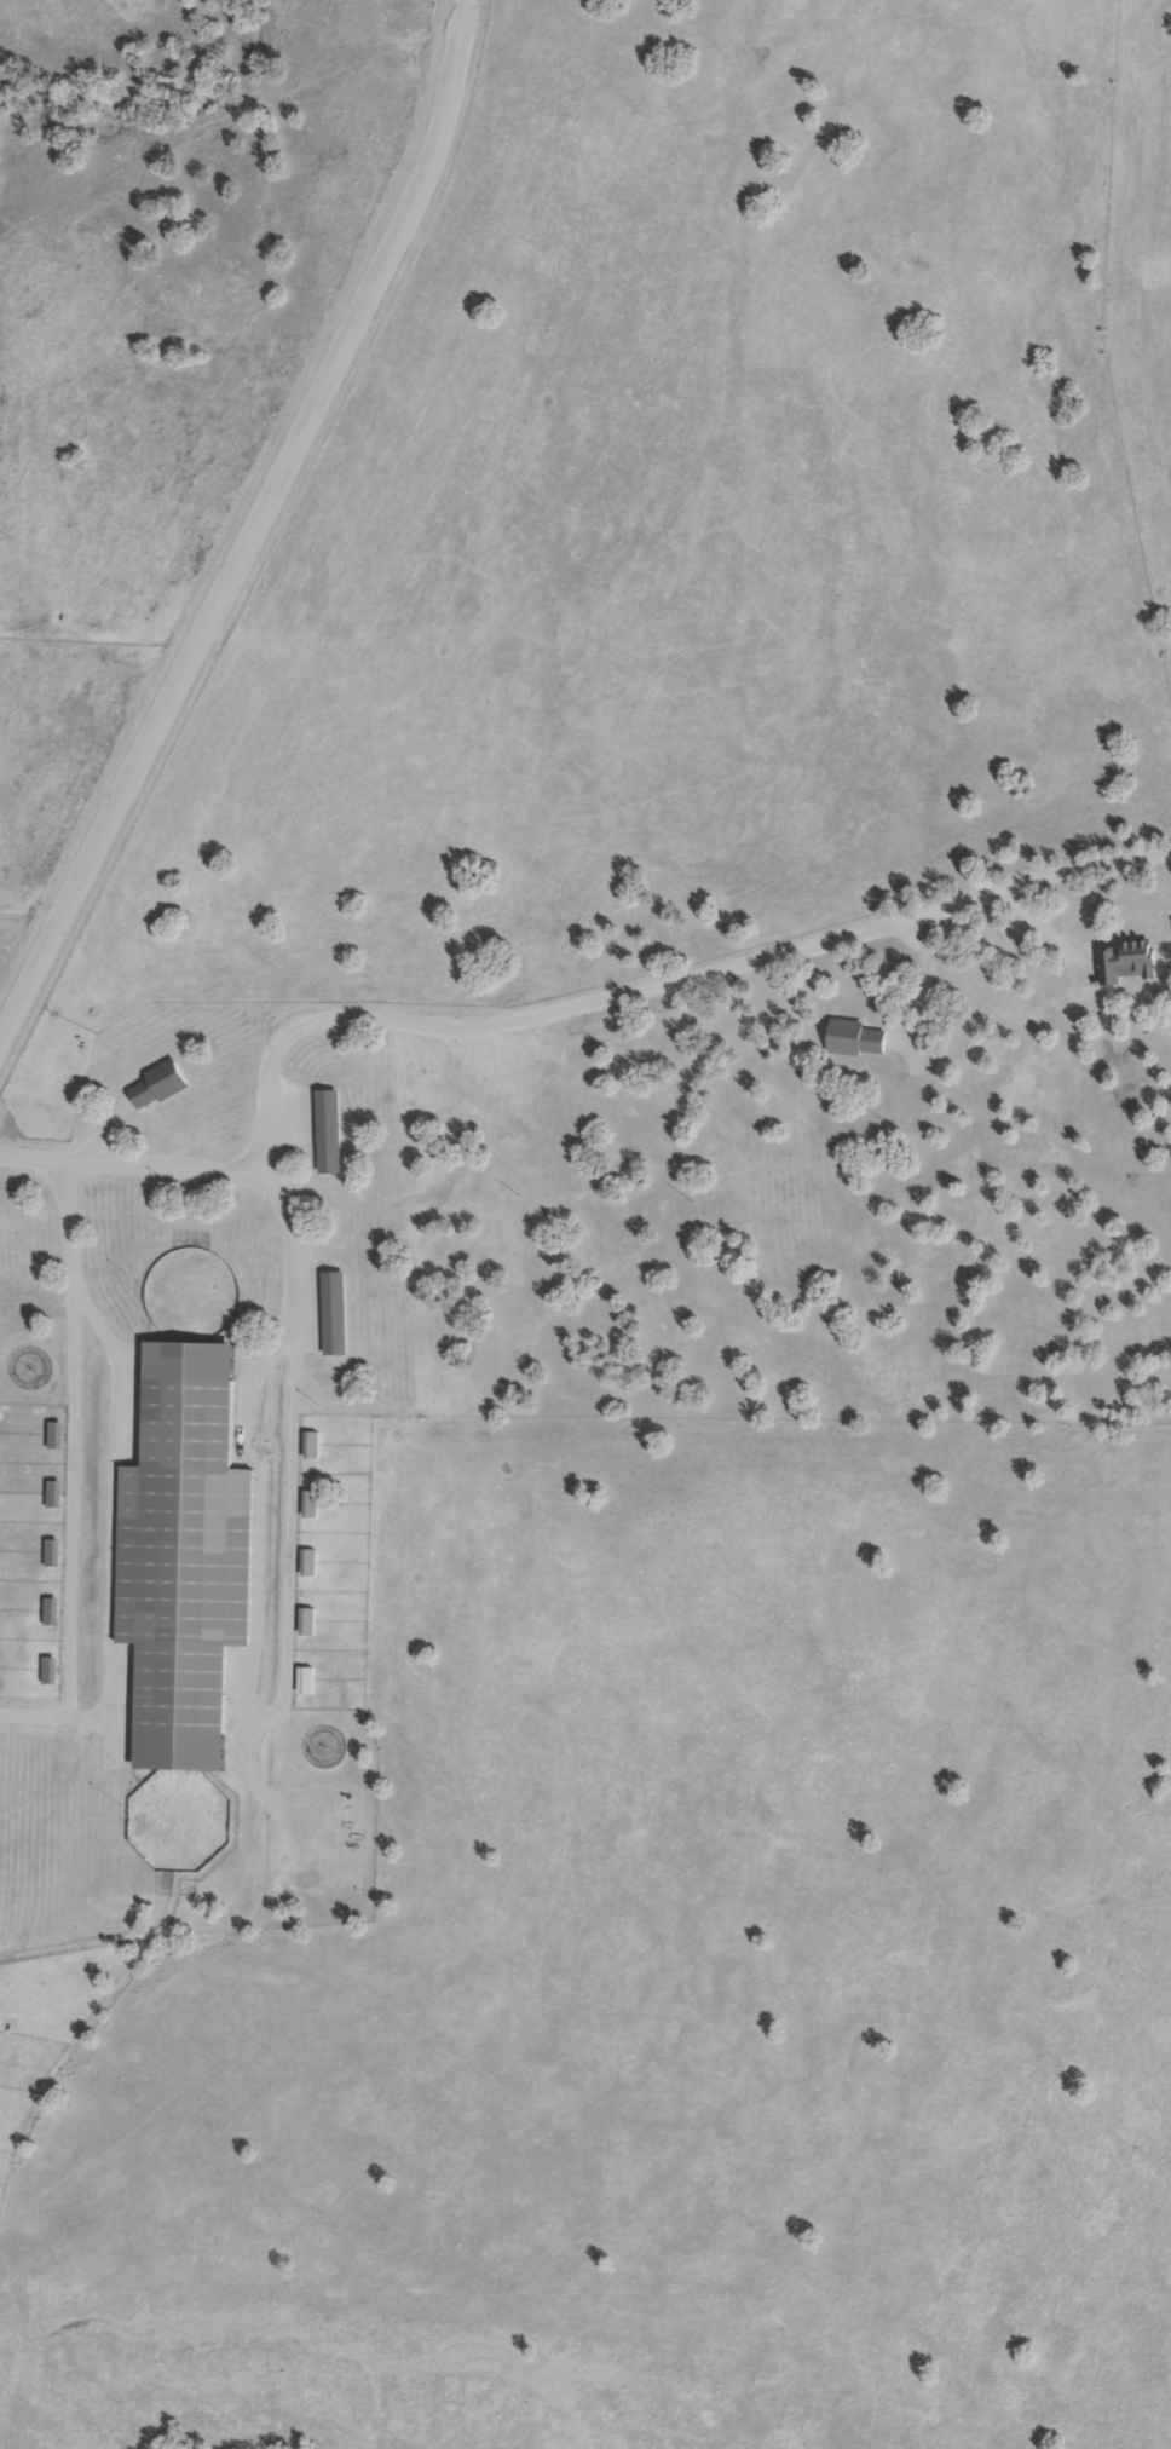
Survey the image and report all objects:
road: (255, 520)
building: (1124, 960)
building: (854, 1037)
building: (157, 1083)
building: (327, 1130)
building: (331, 1312)
building: (52, 1493)
building: (308, 1502)
building: (50, 1551)
building: (183, 1555)
building: (48, 1610)

